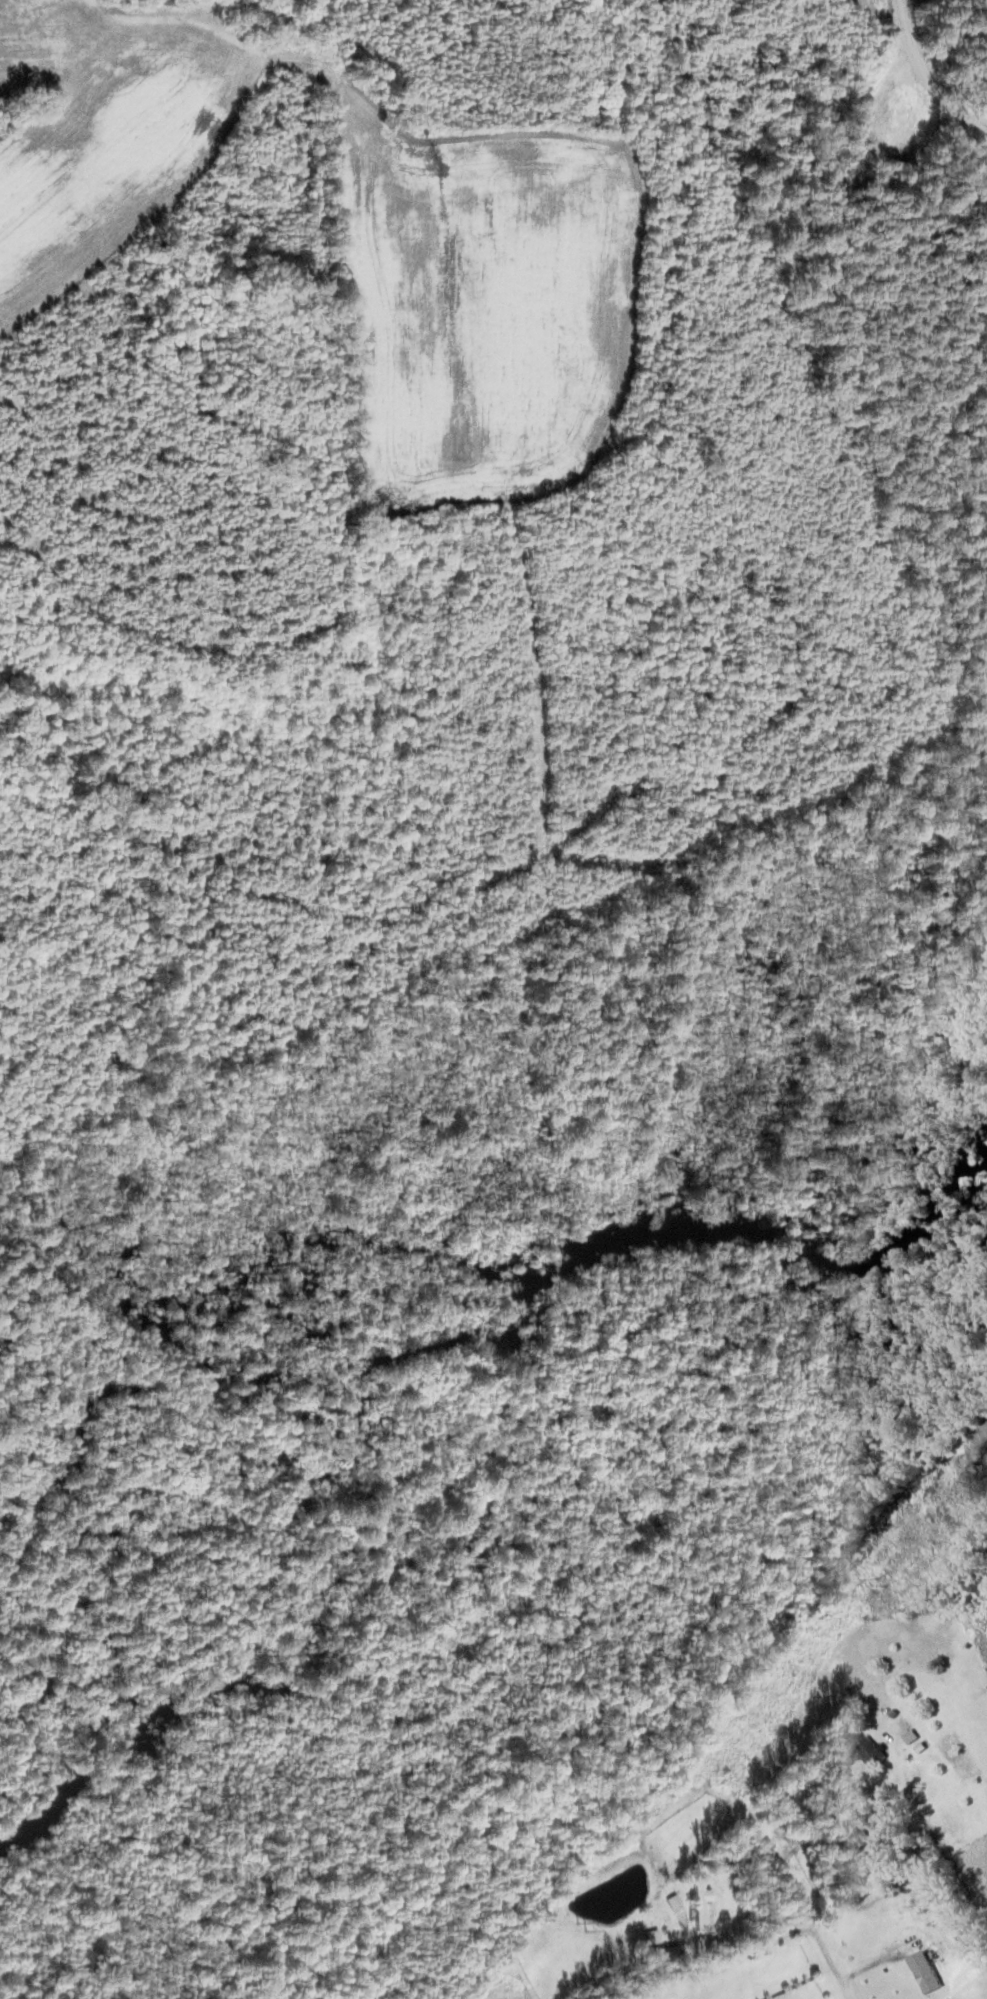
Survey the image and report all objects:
road: (140, 70)
road: (924, 78)
power tower: (877, 1583)
building: (920, 1738)
building: (697, 1907)
power tower: (584, 1926)
road: (829, 1963)
building: (920, 1973)

